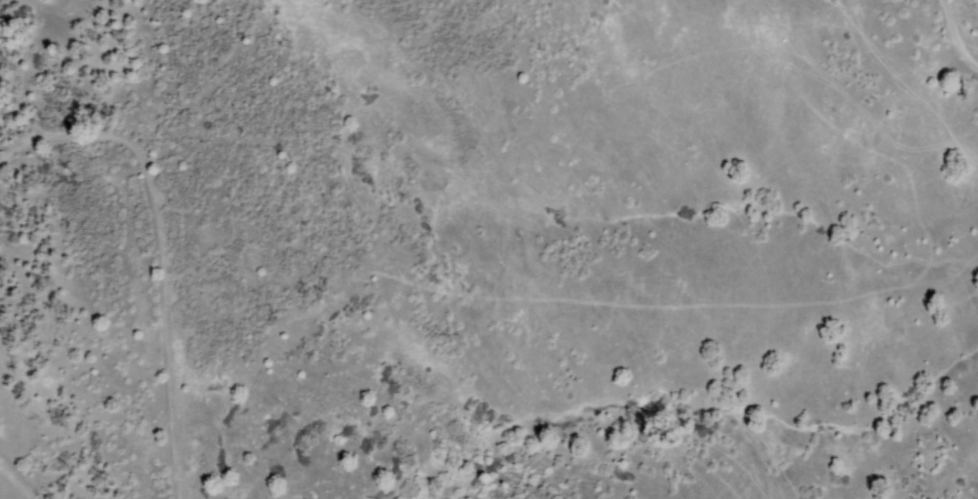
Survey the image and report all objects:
road: (955, 40)

